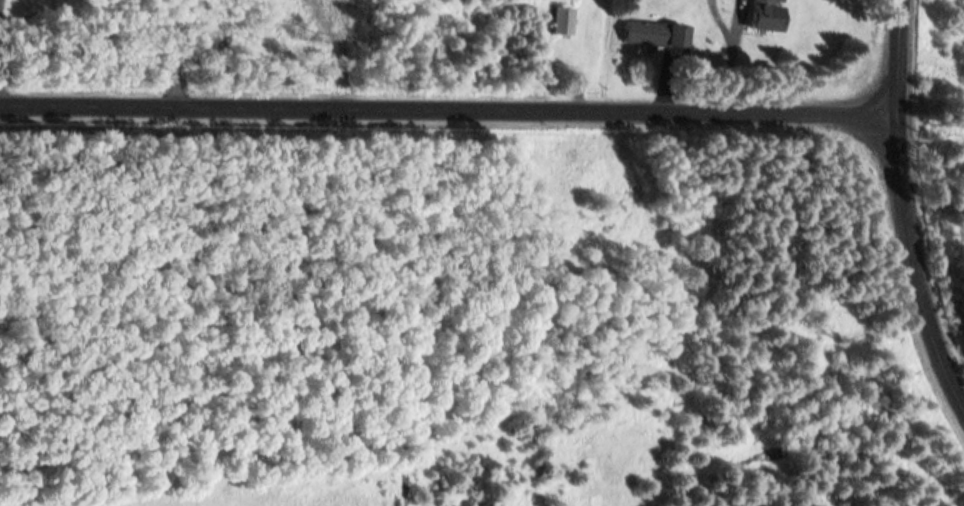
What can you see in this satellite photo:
building: (764, 18)
building: (562, 22)
building: (655, 34)
road: (894, 57)
road: (446, 109)
park: (940, 217)
road: (917, 261)

